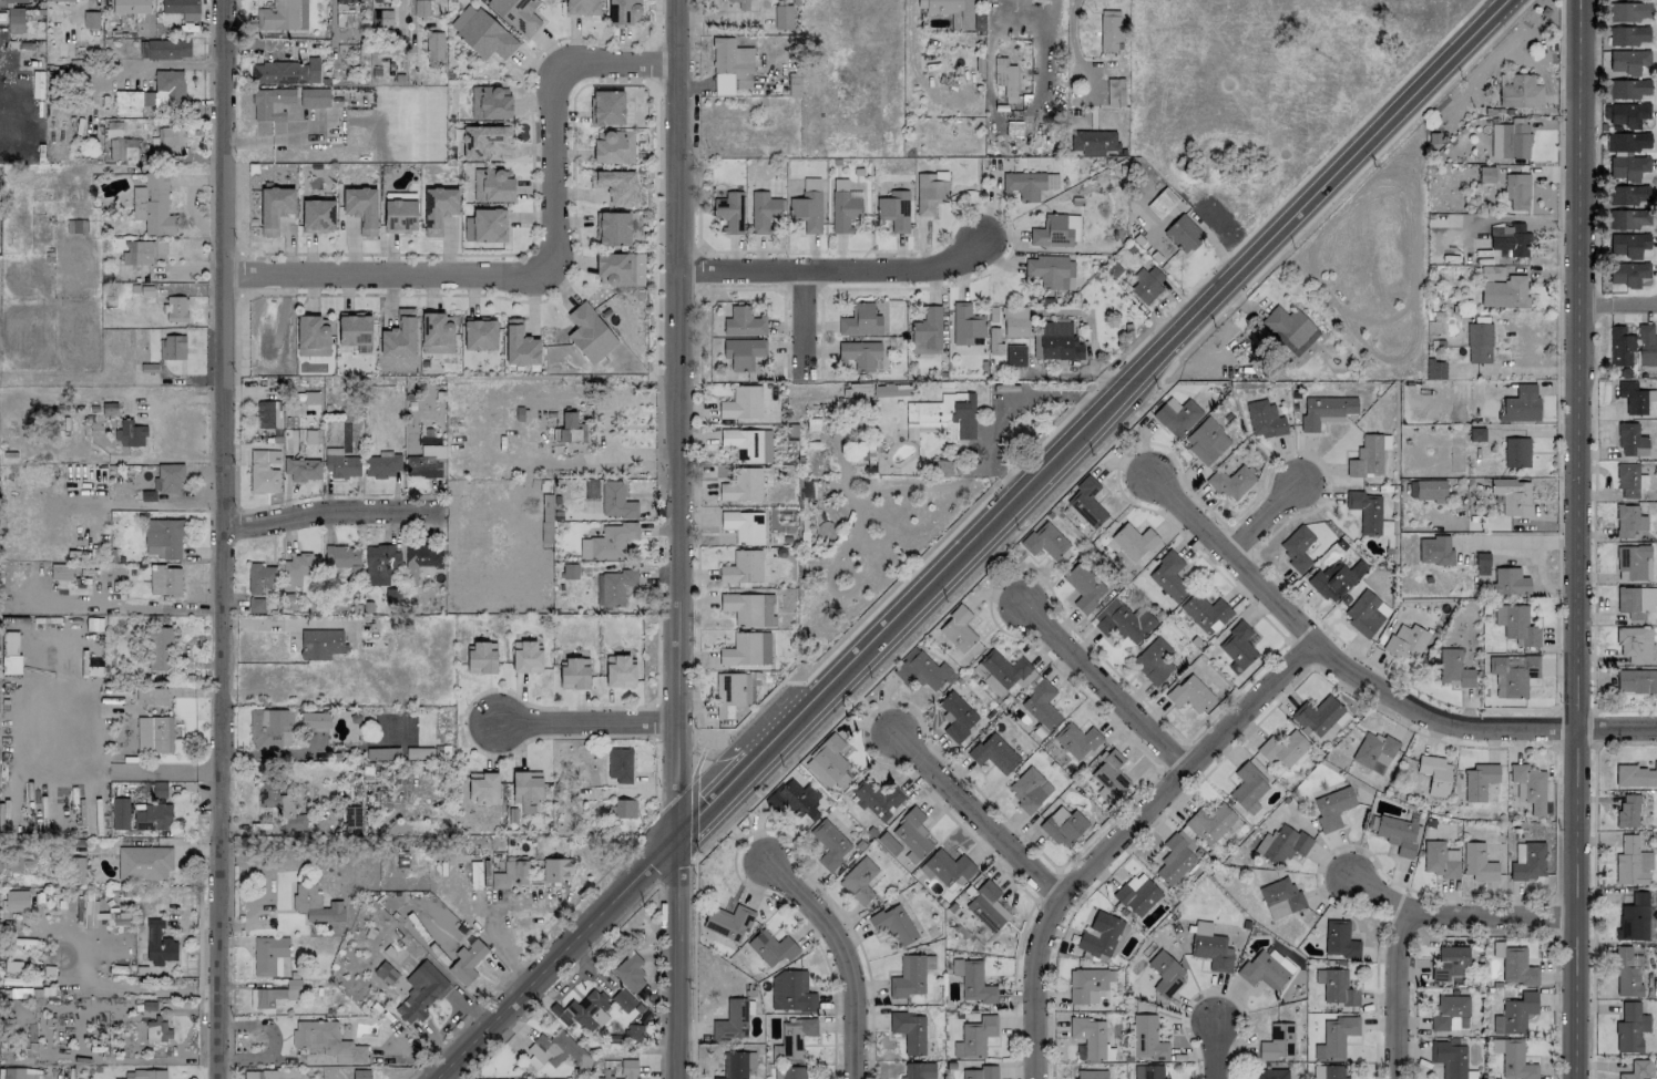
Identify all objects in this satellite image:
building: (18, 0)
building: (483, 0)
building: (740, 3)
building: (347, 4)
building: (130, 6)
building: (178, 6)
building: (581, 7)
building: (623, 11)
building: (951, 11)
building: (1629, 11)
building: (516, 14)
building: (283, 16)
building: (783, 17)
building: (381, 18)
building: (14, 20)
building: (1108, 30)
building: (481, 32)
road: (1072, 33)
building: (1628, 35)
building: (433, 44)
building: (164, 49)
building: (1628, 61)
road: (616, 63)
building: (729, 64)
building: (285, 72)
building: (1005, 78)
building: (1629, 88)
building: (1518, 91)
building: (154, 92)
building: (1114, 92)
building: (314, 97)
building: (270, 103)
building: (489, 103)
building: (606, 107)
building: (1627, 114)
road: (278, 137)
building: (1510, 140)
building: (172, 141)
building: (482, 141)
building: (1627, 141)
building: (1093, 142)
building: (613, 146)
building: (115, 148)
building: (1627, 166)
road: (556, 169)
building: (1051, 181)
building: (1023, 184)
building: (492, 185)
building: (615, 185)
building: (1516, 191)
building: (1628, 195)
building: (1162, 202)
building: (153, 206)
building: (274, 208)
building: (360, 208)
building: (438, 208)
building: (763, 210)
building: (806, 210)
building: (843, 210)
building: (893, 210)
building: (923, 210)
building: (729, 212)
building: (317, 215)
building: (399, 215)
building: (1627, 218)
building: (485, 225)
building: (612, 228)
building: (1054, 230)
building: (1183, 234)
building: (1508, 239)
building: (1627, 244)
building: (142, 251)
road: (521, 251)
building: (615, 268)
road: (833, 269)
building: (1050, 271)
building: (1627, 273)
road: (387, 275)
building: (1146, 282)
building: (1504, 291)
road: (1594, 304)
road: (1633, 304)
building: (176, 309)
building: (860, 320)
building: (1014, 321)
building: (744, 322)
building: (965, 323)
road: (806, 325)
building: (928, 327)
building: (1289, 328)
building: (355, 330)
building: (436, 333)
building: (479, 333)
building: (589, 333)
building: (313, 336)
building: (398, 336)
building: (1057, 341)
building: (1479, 342)
building: (520, 345)
building: (1646, 345)
building: (174, 347)
building: (1619, 347)
building: (743, 352)
building: (860, 353)
building: (1014, 356)
road: (1126, 357)
building: (1435, 369)
road: (1516, 370)
building: (1632, 397)
building: (741, 402)
building: (1521, 403)
road: (1010, 407)
building: (933, 411)
building: (1326, 411)
building: (265, 414)
building: (1176, 415)
road: (677, 419)
building: (1264, 419)
building: (567, 429)
building: (131, 433)
road: (1117, 434)
building: (1206, 440)
building: (1630, 440)
building: (747, 443)
building: (1516, 452)
building: (1367, 456)
building: (426, 462)
building: (340, 463)
building: (382, 464)
building: (301, 469)
building: (264, 471)
building: (170, 477)
building: (1629, 480)
road: (697, 482)
building: (1231, 482)
building: (743, 485)
building: (1430, 490)
building: (1512, 495)
building: (615, 501)
building: (1086, 502)
road: (153, 504)
building: (1366, 511)
road: (333, 512)
road: (1264, 513)
building: (1628, 521)
building: (744, 525)
road: (1558, 528)
building: (163, 538)
road: (1578, 538)
road: (223, 539)
road: (974, 539)
building: (1044, 541)
building: (1133, 541)
building: (607, 542)
road: (1523, 542)
building: (1296, 546)
building: (1434, 549)
building: (341, 558)
building: (420, 558)
building: (380, 563)
building: (1482, 563)
building: (1633, 563)
building: (299, 567)
building: (741, 567)
building: (260, 576)
building: (1168, 576)
road: (1542, 579)
building: (164, 580)
building: (1331, 580)
building: (1508, 580)
building: (615, 586)
building: (1084, 586)
building: (1632, 602)
road: (119, 605)
building: (255, 605)
building: (748, 608)
building: (1205, 613)
building: (1366, 613)
road: (276, 620)
building: (1123, 621)
building: (1515, 624)
building: (958, 628)
building: (1407, 641)
building: (320, 643)
building: (1634, 644)
building: (1237, 647)
building: (158, 648)
building: (746, 649)
building: (481, 657)
building: (525, 657)
building: (1154, 661)
building: (1453, 668)
building: (921, 669)
building: (620, 671)
building: (1002, 671)
building: (573, 674)
building: (1512, 674)
road: (1363, 679)
building: (1636, 680)
road: (1099, 681)
building: (728, 693)
building: (1189, 693)
building: (152, 696)
building: (1041, 705)
building: (1317, 715)
building: (957, 716)
building: (314, 719)
road: (589, 723)
building: (154, 733)
building: (1076, 740)
building: (1282, 748)
road: (727, 750)
building: (1373, 752)
building: (994, 753)
road: (84, 763)
building: (620, 764)
building: (828, 764)
building: (1109, 772)
building: (1435, 774)
building: (1636, 775)
building: (1479, 781)
building: (525, 787)
building: (1528, 787)
building: (482, 788)
building: (1248, 788)
building: (1029, 789)
road: (692, 793)
building: (1104, 794)
building: (876, 799)
building: (795, 800)
building: (283, 806)
building: (623, 808)
road: (975, 808)
building: (1331, 808)
building: (1627, 810)
building: (120, 813)
building: (151, 816)
building: (1213, 824)
building: (1063, 825)
road: (1118, 833)
building: (912, 834)
building: (1399, 834)
building: (829, 843)
building: (1281, 844)
building: (1175, 857)
building: (1440, 859)
building: (33, 861)
building: (1528, 861)
building: (1477, 862)
building: (1632, 862)
building: (143, 863)
building: (949, 867)
building: (78, 870)
building: (556, 870)
building: (511, 874)
building: (859, 880)
road: (1592, 880)
building: (1137, 894)
building: (1280, 897)
building: (16, 900)
building: (986, 906)
road: (508, 908)
building: (326, 912)
road: (1455, 918)
building: (1633, 918)
building: (728, 922)
building: (893, 924)
building: (1099, 935)
building: (1339, 939)
building: (158, 944)
building: (771, 947)
building: (1210, 947)
building: (269, 955)
road: (843, 957)
road: (678, 958)
building: (467, 962)
building: (1450, 963)
building: (1514, 964)
building: (1265, 968)
building: (628, 970)
building: (1165, 973)
building: (1625, 973)
building: (910, 975)
building: (973, 980)
road: (113, 985)
building: (1087, 985)
building: (1336, 987)
building: (790, 991)
building: (420, 993)
building: (272, 995)
road: (1394, 995)
building: (623, 999)
building: (584, 1010)
building: (1450, 1013)
building: (1514, 1014)
building: (732, 1021)
building: (1630, 1028)
building: (156, 1031)
building: (633, 1031)
building: (909, 1031)
building: (319, 1036)
building: (974, 1036)
building: (794, 1037)
building: (1334, 1037)
building: (1144, 1038)
building: (1277, 1042)
road: (1214, 1048)
building: (558, 1050)
building: (1449, 1057)
building: (1515, 1061)
building: (734, 1065)
building: (626, 1069)
building: (919, 1070)
building: (1147, 1071)
building: (1330, 1071)
building: (792, 1072)
building: (980, 1072)
building: (149, 1073)
building: (1269, 1073)
building: (1088, 1075)
building: (1632, 1076)

